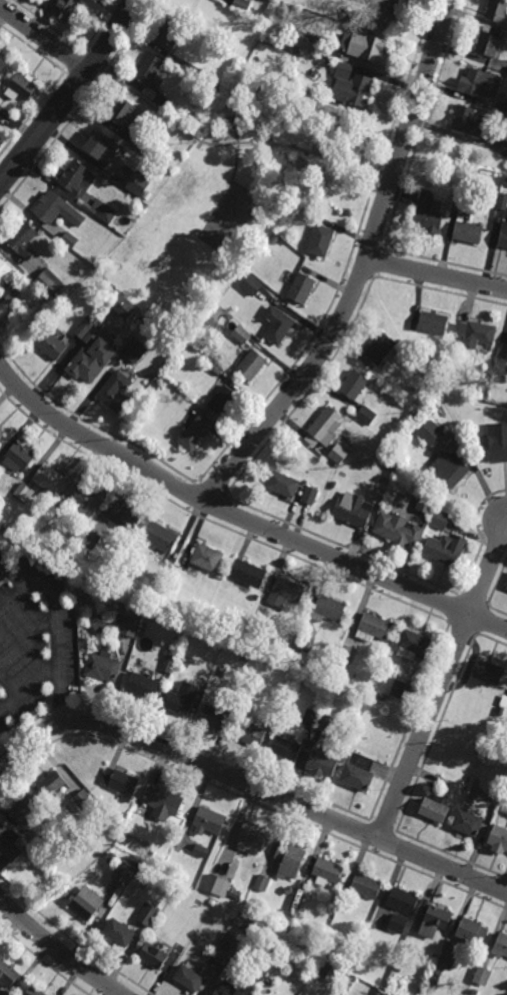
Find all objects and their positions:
building: (369, 1)
building: (244, 7)
building: (69, 8)
building: (497, 11)
building: (385, 16)
building: (170, 34)
road: (44, 40)
building: (307, 41)
building: (489, 45)
building: (363, 46)
building: (326, 62)
building: (190, 68)
building: (4, 69)
road: (98, 69)
building: (149, 69)
building: (343, 71)
building: (475, 82)
building: (24, 86)
road: (405, 86)
building: (360, 91)
road: (71, 95)
building: (163, 102)
building: (1, 108)
building: (124, 115)
building: (468, 121)
building: (234, 123)
road: (231, 143)
building: (137, 145)
building: (100, 148)
building: (504, 150)
park: (458, 151)
road: (237, 157)
park: (232, 171)
road: (385, 174)
building: (76, 178)
building: (505, 182)
building: (139, 184)
building: (495, 194)
building: (503, 202)
building: (493, 203)
building: (56, 210)
building: (106, 214)
building: (428, 214)
building: (312, 217)
park: (229, 220)
building: (468, 233)
building: (503, 237)
building: (21, 239)
building: (69, 241)
building: (321, 241)
road: (363, 270)
road: (437, 275)
building: (7, 282)
building: (49, 284)
building: (252, 285)
building: (301, 290)
building: (124, 309)
building: (227, 319)
building: (433, 323)
building: (277, 325)
building: (85, 328)
building: (151, 333)
building: (475, 334)
building: (241, 335)
building: (49, 344)
building: (379, 347)
building: (135, 350)
building: (91, 360)
building: (428, 361)
building: (251, 364)
building: (499, 365)
building: (216, 371)
building: (354, 386)
building: (115, 391)
building: (179, 395)
building: (222, 400)
building: (365, 415)
building: (324, 427)
building: (2, 431)
building: (195, 432)
building: (431, 432)
building: (495, 442)
building: (339, 453)
building: (19, 456)
building: (447, 468)
building: (386, 476)
building: (49, 479)
building: (283, 484)
building: (23, 493)
building: (310, 495)
building: (88, 497)
building: (378, 497)
building: (426, 503)
building: (62, 507)
building: (353, 509)
building: (125, 513)
building: (441, 516)
road: (240, 519)
building: (397, 528)
building: (76, 535)
building: (161, 537)
building: (89, 541)
building: (445, 549)
building: (208, 558)
building: (248, 573)
building: (506, 587)
road: (13, 592)
building: (158, 592)
building: (285, 592)
building: (330, 608)
building: (99, 626)
building: (129, 626)
building: (372, 627)
road: (57, 628)
road: (27, 636)
building: (288, 639)
building: (304, 643)
building: (413, 645)
building: (344, 654)
building: (246, 659)
building: (169, 662)
building: (186, 664)
building: (102, 667)
building: (341, 667)
building: (488, 672)
road: (441, 682)
road: (28, 685)
building: (142, 686)
building: (400, 690)
building: (383, 697)
building: (182, 699)
building: (503, 704)
building: (213, 718)
building: (317, 721)
building: (249, 733)
building: (285, 749)
building: (321, 763)
building: (357, 778)
building: (120, 783)
building: (51, 784)
road: (251, 786)
building: (485, 787)
building: (83, 800)
building: (162, 802)
building: (23, 808)
building: (504, 810)
building: (433, 811)
building: (208, 820)
building: (467, 825)
building: (250, 838)
building: (499, 839)
building: (8, 844)
building: (42, 846)
building: (201, 850)
building: (30, 852)
building: (111, 858)
building: (289, 860)
building: (125, 872)
building: (327, 872)
building: (50, 878)
building: (262, 883)
building: (214, 884)
building: (365, 887)
building: (402, 901)
building: (212, 902)
building: (87, 904)
building: (255, 906)
building: (147, 914)
building: (436, 921)
building: (238, 922)
building: (397, 924)
building: (119, 933)
building: (472, 933)
building: (501, 946)
building: (226, 948)
road: (57, 951)
building: (154, 956)
building: (441, 966)
building: (9, 975)
building: (189, 978)
building: (483, 978)
building: (256, 982)
building: (339, 987)
building: (34, 992)
building: (221, 992)
building: (476, 993)

